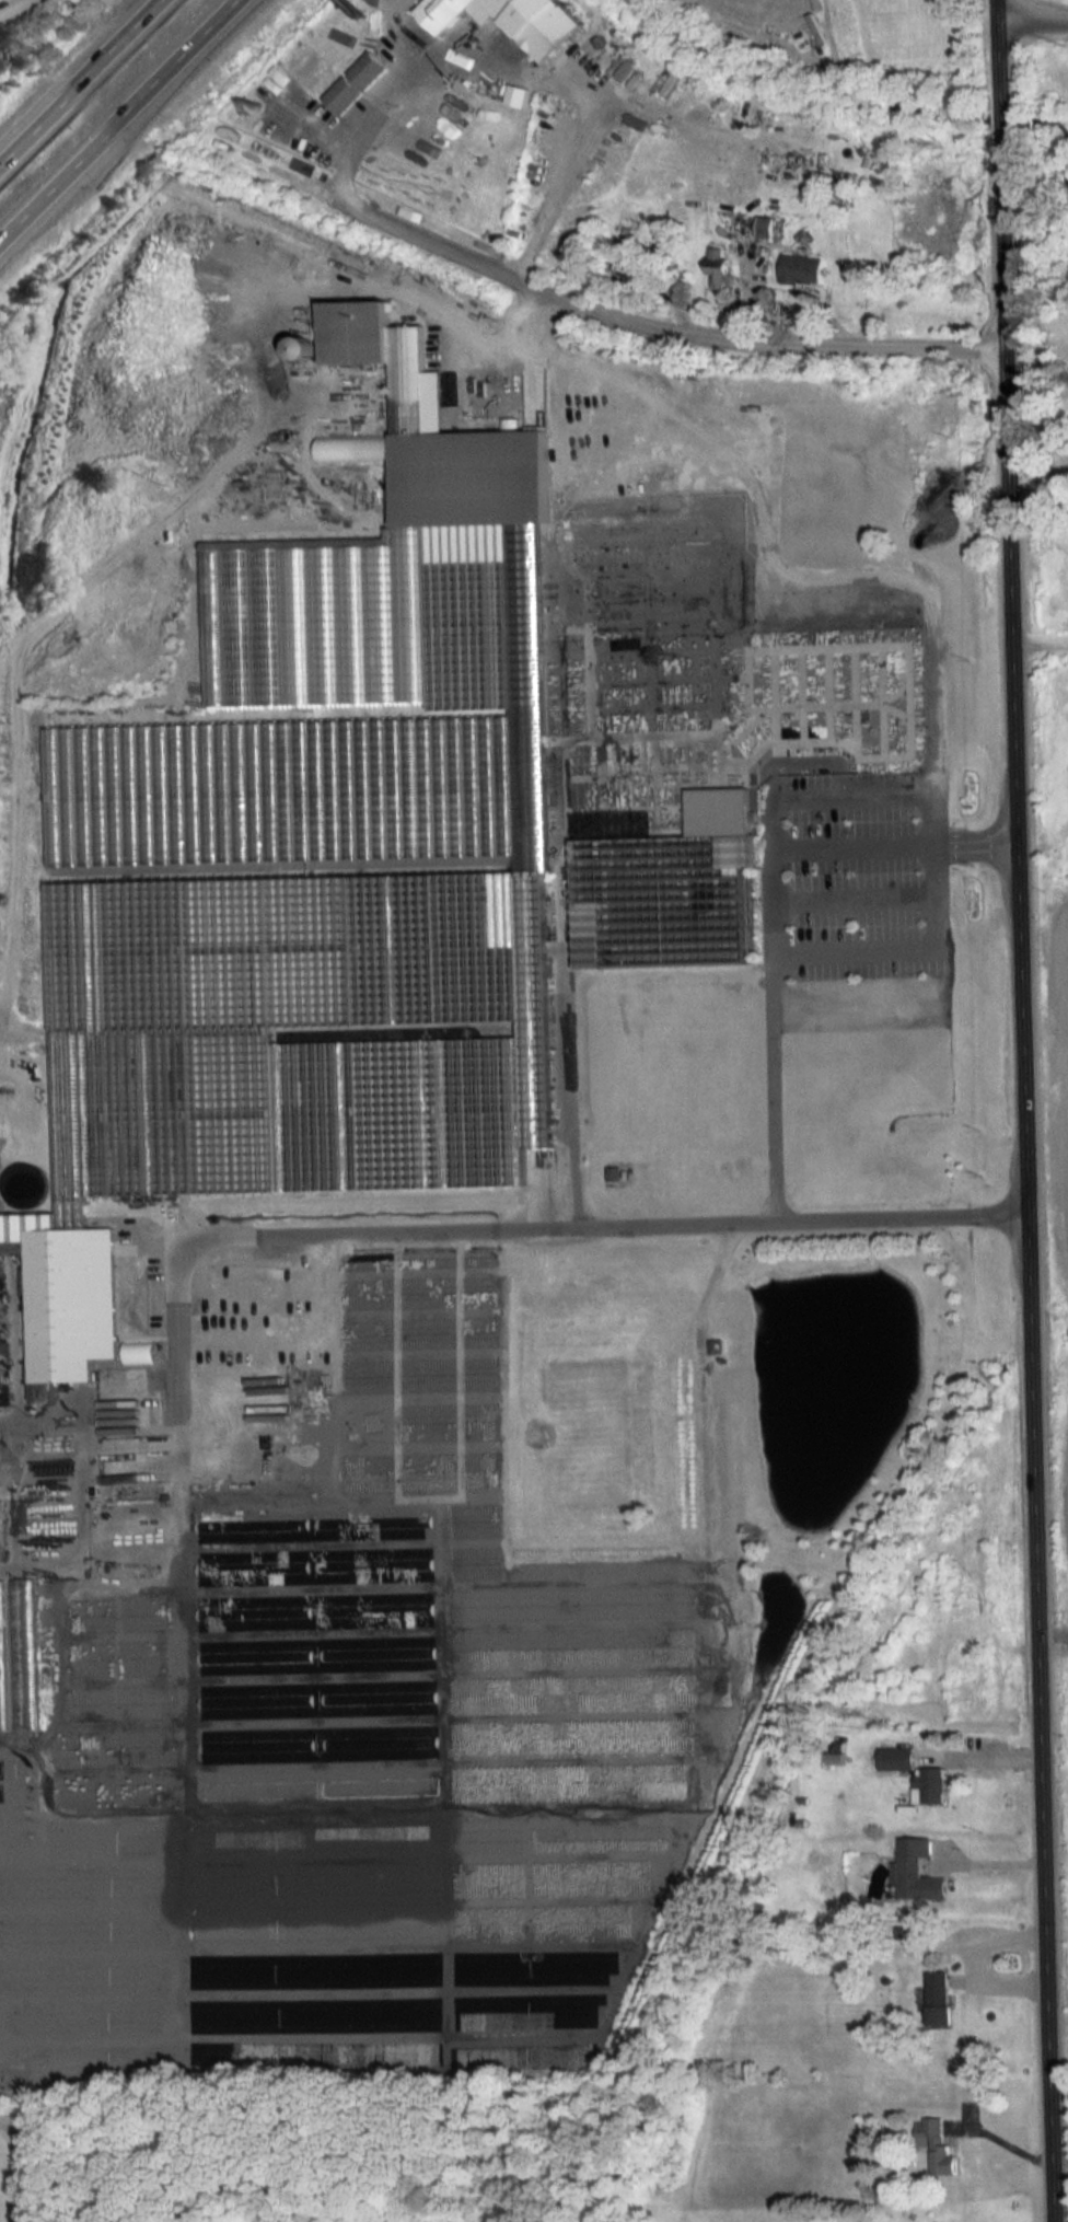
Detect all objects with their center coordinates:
road: (14, 9)
building: (507, 19)
road: (1040, 20)
road: (86, 82)
building: (353, 82)
road: (381, 106)
road: (125, 121)
building: (750, 224)
building: (718, 266)
building: (801, 268)
road: (629, 311)
road: (1043, 385)
building: (338, 836)
building: (664, 899)
road: (769, 905)
road: (1036, 1111)
building: (11, 1213)
road: (507, 1229)
building: (478, 1271)
building: (70, 1280)
building: (419, 1317)
building: (713, 1344)
building: (480, 1357)
building: (427, 1375)
building: (382, 1397)
building: (480, 1445)
building: (428, 1448)
building: (364, 1473)
building: (0, 1519)
building: (345, 1528)
building: (475, 1543)
building: (391, 1563)
building: (479, 1607)
building: (24, 1654)
building: (2, 1657)
building: (895, 1758)
building: (929, 1784)
road: (998, 1861)
building: (917, 1870)
building: (916, 1933)
road: (976, 1954)
building: (937, 1997)
road: (1013, 2141)
building: (937, 2143)
building: (866, 2221)

